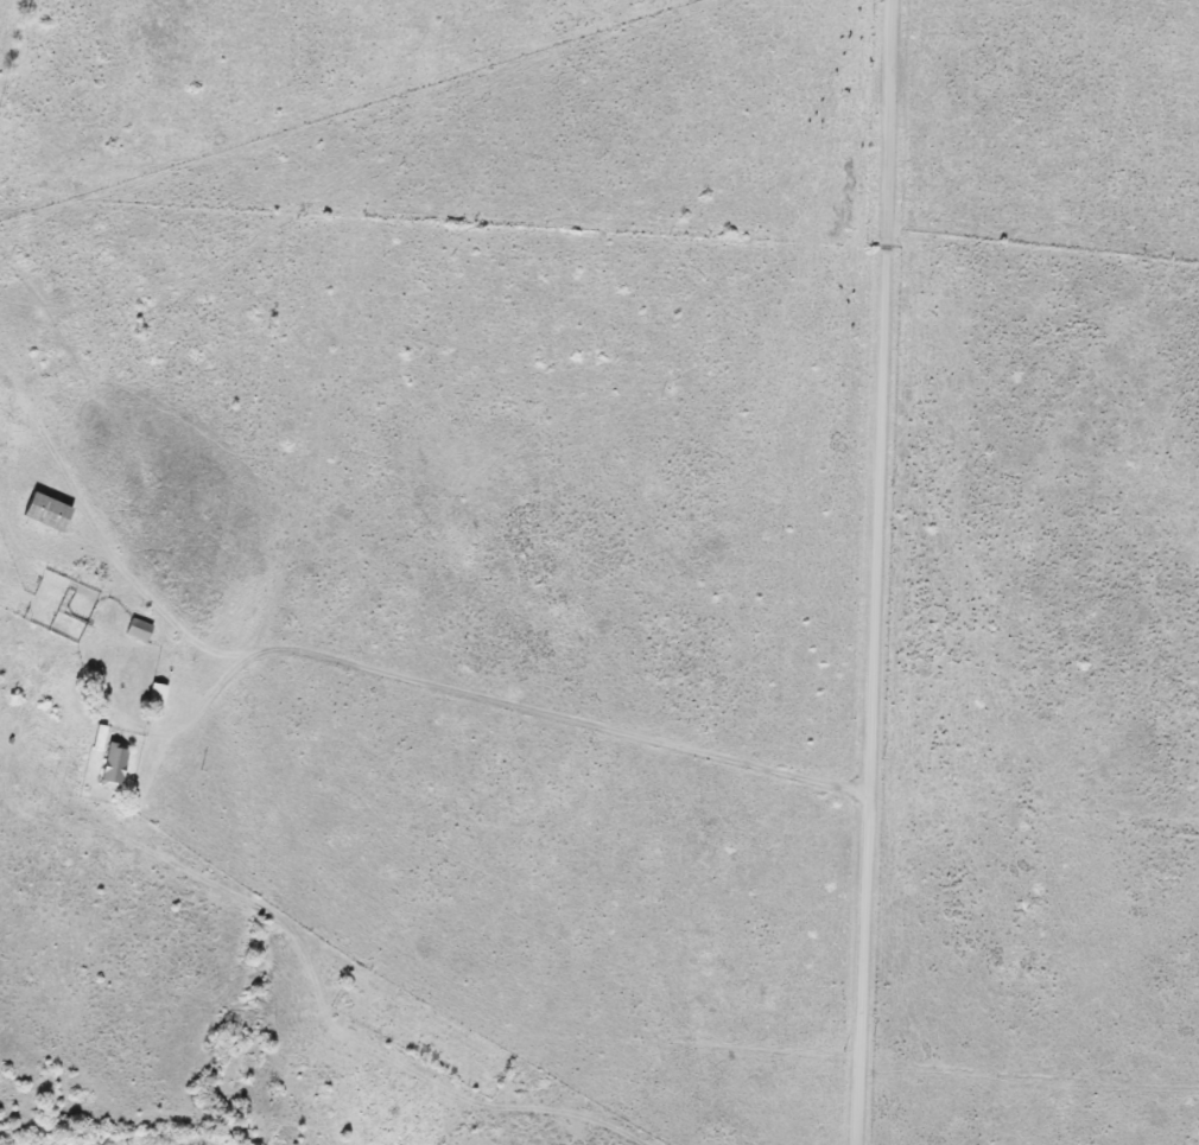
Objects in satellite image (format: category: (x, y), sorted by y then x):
building: (47, 511)
road: (878, 572)
building: (140, 630)
road: (484, 692)
building: (158, 694)
building: (114, 768)

